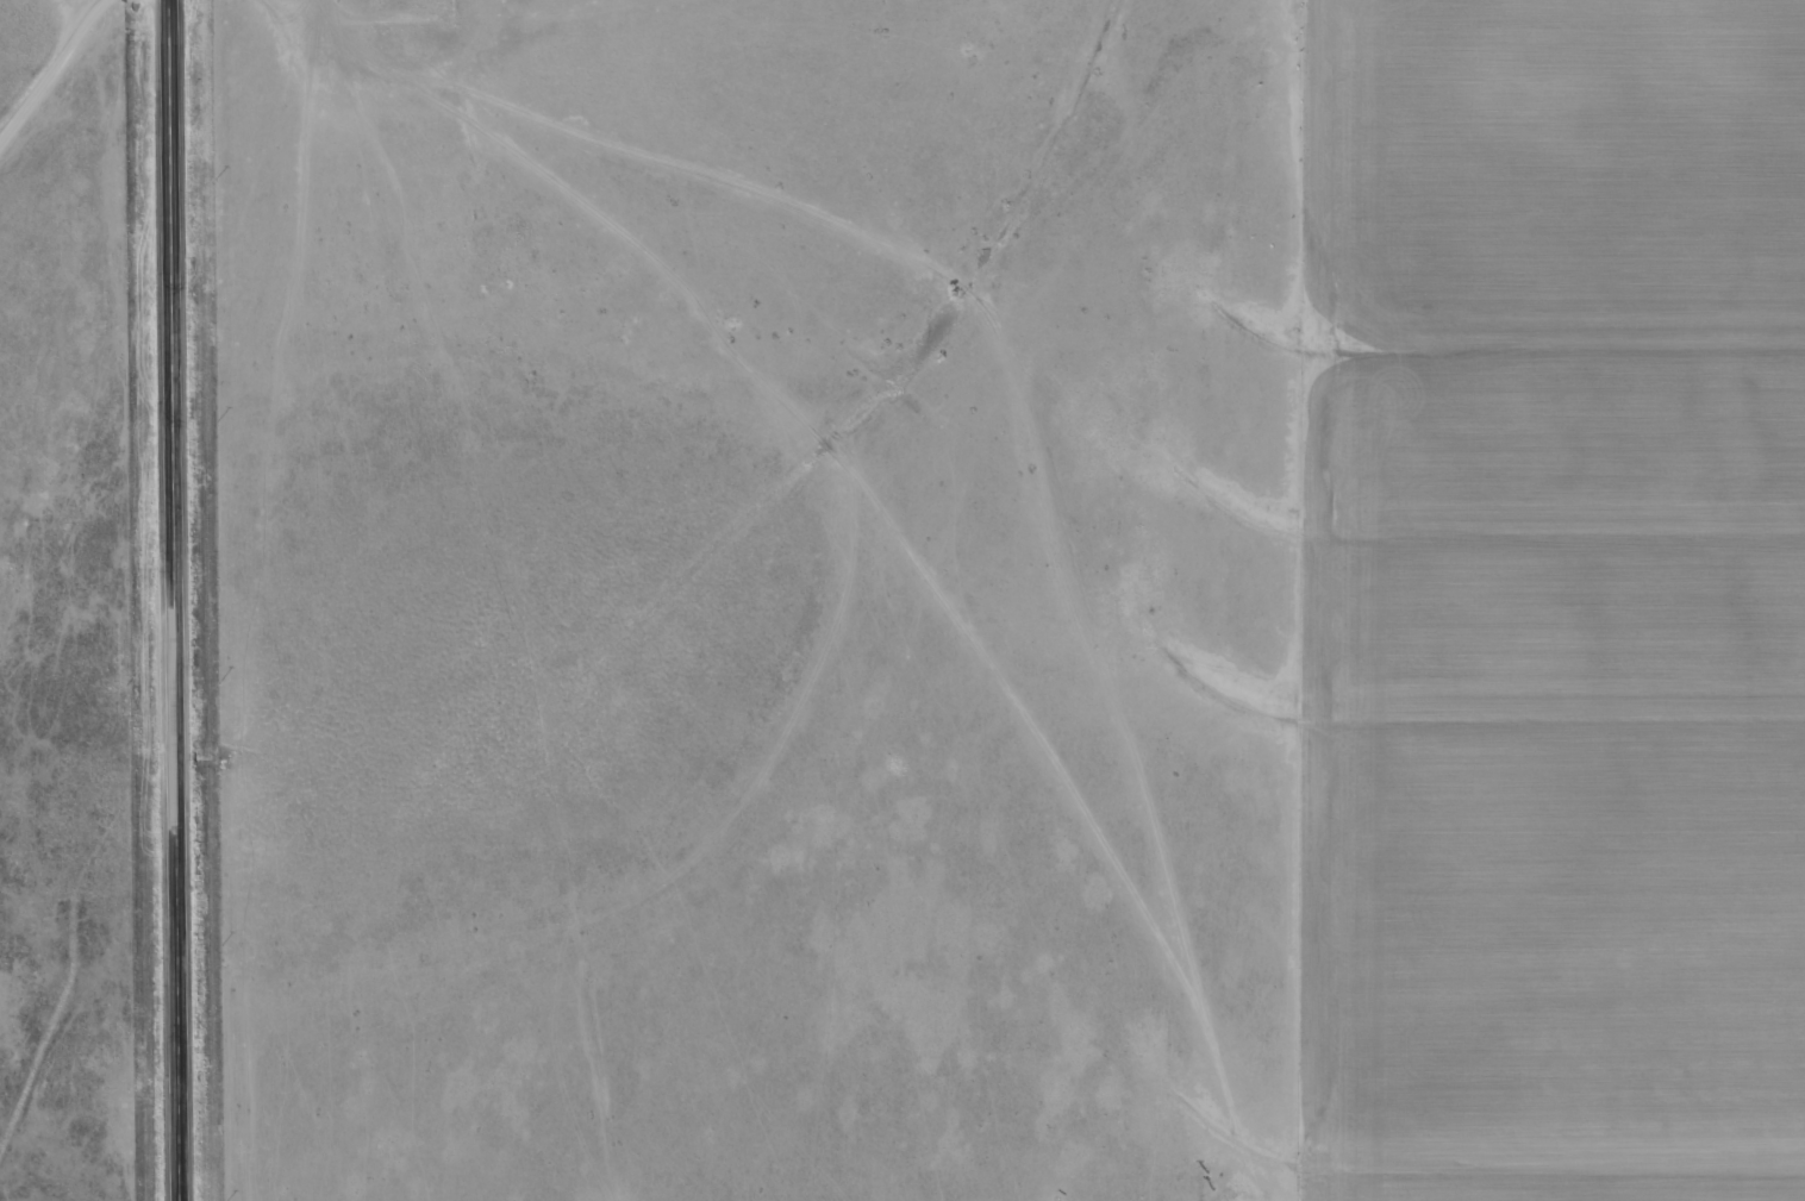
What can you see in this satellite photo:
road: (169, 600)

